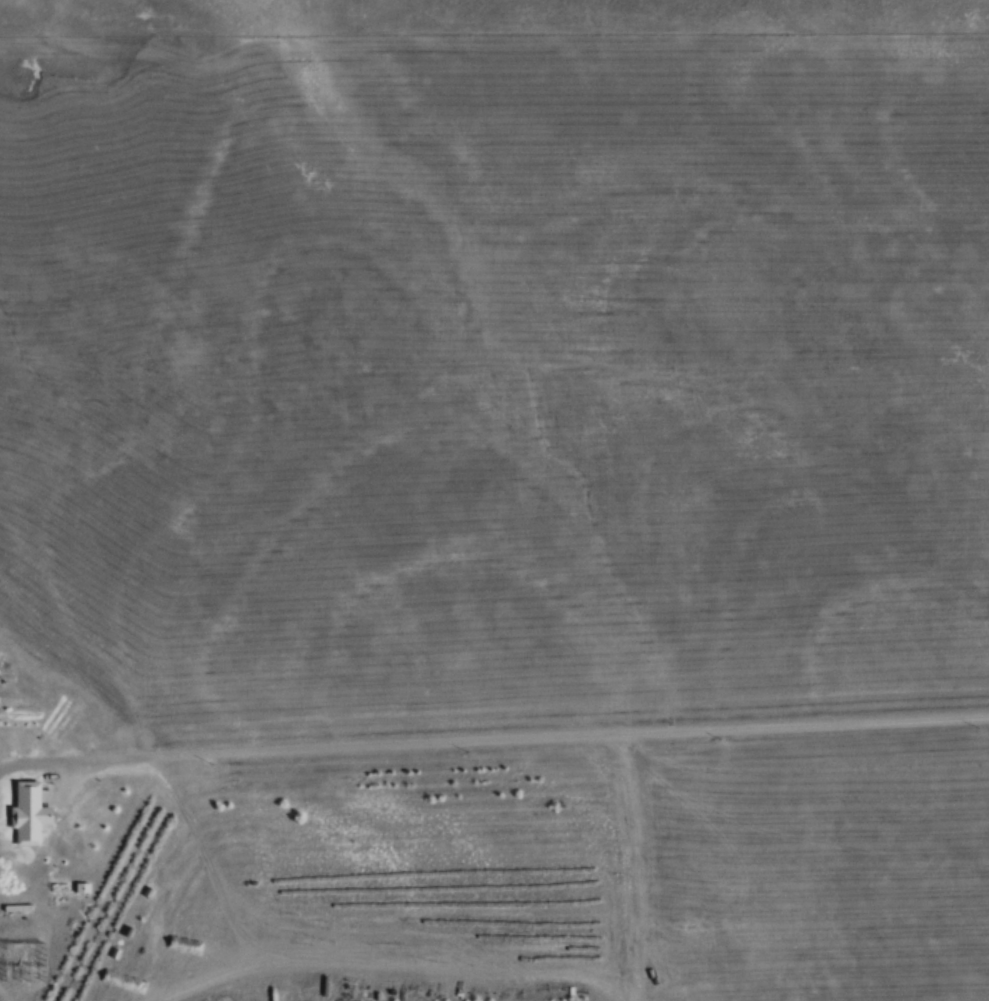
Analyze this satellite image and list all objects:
road: (494, 736)

